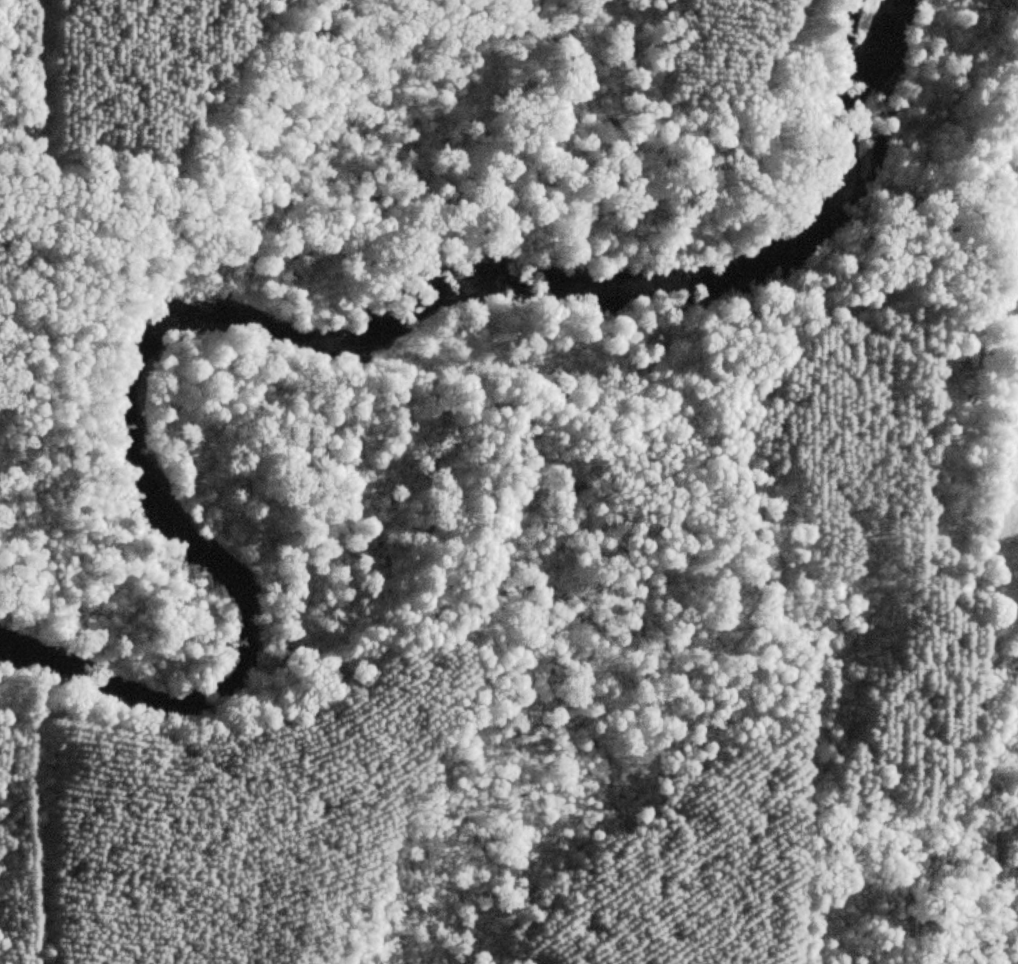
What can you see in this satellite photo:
river: (292, 333)

